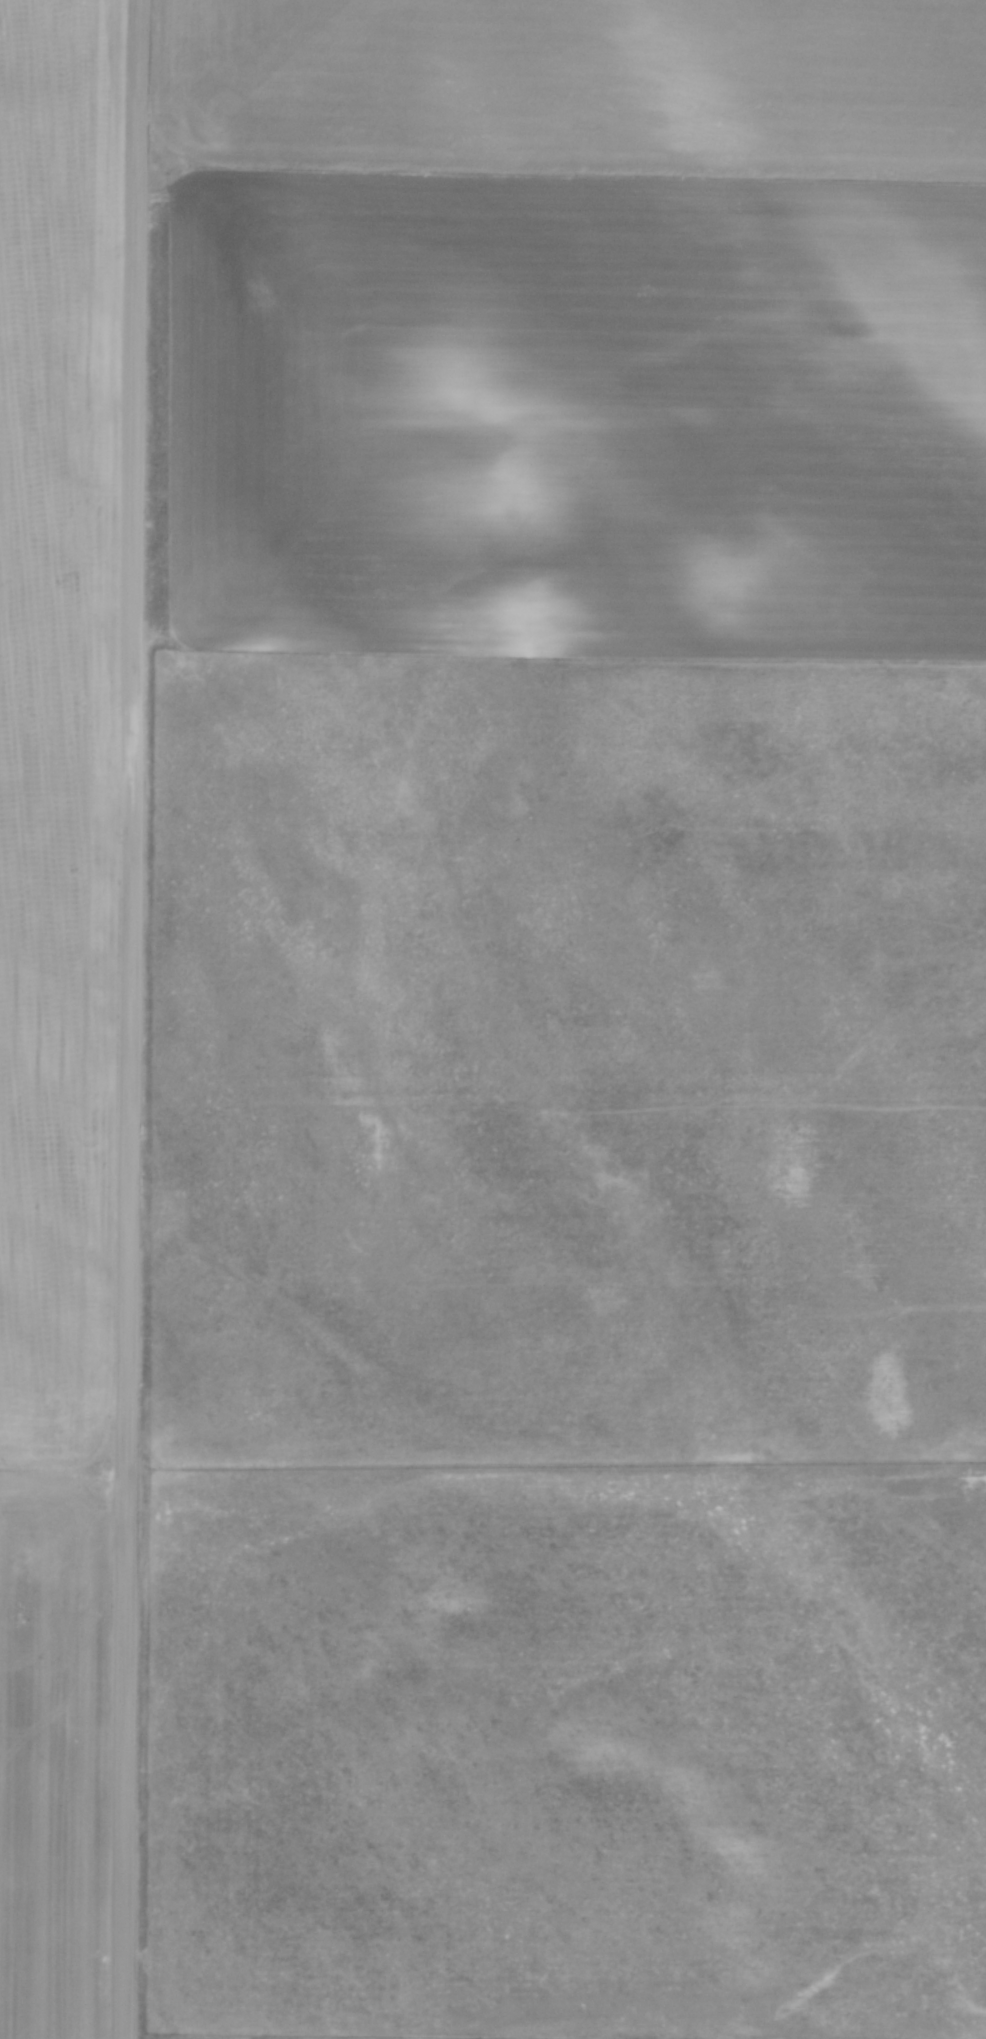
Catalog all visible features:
crop: (570, 323)
crop: (59, 989)
road: (131, 1019)
crop: (364, 2036)

